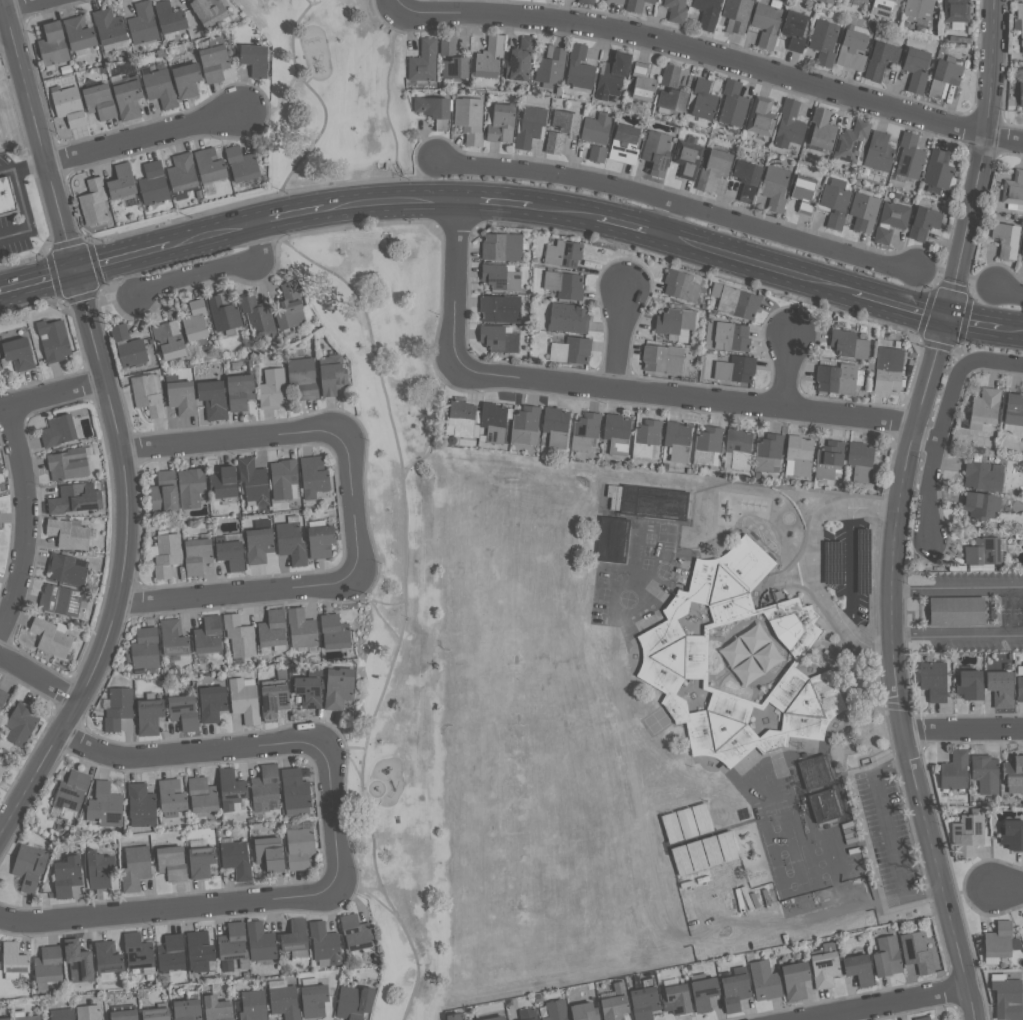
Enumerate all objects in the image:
building: (866, 0)
building: (937, 0)
building: (588, 1)
building: (618, 1)
building: (829, 1)
road: (392, 2)
building: (638, 5)
road: (32, 7)
building: (884, 8)
building: (920, 9)
building: (677, 10)
building: (958, 10)
building: (1019, 10)
building: (212, 12)
building: (709, 13)
building: (737, 14)
building: (171, 20)
building: (144, 23)
building: (767, 24)
road: (5, 25)
building: (112, 29)
building: (796, 30)
building: (81, 35)
building: (825, 42)
building: (54, 44)
building: (855, 48)
road: (710, 54)
building: (491, 57)
building: (454, 58)
building: (216, 59)
building: (256, 59)
building: (522, 59)
building: (883, 60)
building: (425, 61)
building: (552, 66)
building: (919, 68)
building: (581, 69)
building: (614, 75)
building: (672, 75)
building: (947, 76)
building: (189, 80)
building: (644, 82)
building: (162, 88)
building: (1020, 93)
building: (130, 99)
building: (671, 99)
building: (705, 100)
building: (101, 101)
building: (735, 104)
building: (70, 105)
road: (282, 105)
road: (388, 107)
building: (437, 110)
building: (763, 117)
building: (471, 118)
building: (501, 120)
building: (568, 121)
building: (791, 125)
building: (532, 126)
building: (598, 128)
building: (824, 129)
road: (38, 137)
road: (146, 140)
building: (854, 141)
building: (556, 143)
building: (626, 144)
building: (659, 152)
building: (881, 152)
building: (599, 154)
building: (912, 157)
building: (689, 158)
road: (979, 159)
building: (244, 164)
building: (212, 165)
road: (22, 166)
building: (716, 169)
building: (940, 172)
building: (184, 175)
building: (749, 179)
building: (124, 182)
building: (156, 183)
building: (777, 188)
building: (806, 188)
building: (1014, 190)
road: (390, 200)
building: (6, 201)
building: (96, 202)
building: (837, 202)
road: (494, 203)
road: (678, 206)
building: (807, 208)
building: (865, 210)
road: (24, 211)
road: (292, 213)
road: (564, 213)
road: (668, 221)
building: (892, 221)
building: (926, 223)
road: (630, 228)
road: (215, 234)
building: (1008, 239)
building: (504, 246)
building: (1022, 247)
building: (565, 254)
road: (122, 261)
road: (758, 265)
road: (215, 270)
traffic signals: (74, 275)
building: (503, 277)
road: (37, 284)
road: (454, 285)
building: (566, 285)
building: (683, 285)
road: (1008, 290)
building: (737, 301)
road: (900, 305)
building: (291, 306)
building: (502, 308)
building: (225, 313)
building: (259, 317)
building: (570, 317)
traffic signals: (948, 317)
building: (197, 321)
road: (975, 321)
building: (675, 322)
road: (1013, 325)
building: (730, 336)
building: (500, 338)
building: (171, 339)
building: (56, 340)
road: (621, 341)
building: (851, 344)
building: (130, 347)
building: (573, 350)
building: (20, 354)
building: (664, 358)
building: (890, 367)
building: (0, 368)
building: (733, 368)
road: (788, 371)
road: (960, 371)
building: (334, 374)
building: (305, 377)
building: (840, 379)
building: (274, 388)
building: (241, 391)
road: (51, 392)
building: (150, 394)
road: (689, 395)
building: (183, 397)
building: (214, 399)
building: (985, 408)
building: (1015, 414)
building: (463, 419)
building: (495, 421)
road: (434, 422)
building: (526, 424)
building: (558, 427)
building: (60, 430)
building: (587, 431)
building: (619, 433)
building: (648, 440)
road: (232, 441)
building: (680, 441)
building: (710, 446)
building: (740, 449)
park: (379, 451)
building: (771, 453)
building: (801, 456)
building: (831, 460)
building: (862, 461)
building: (69, 464)
building: (0, 471)
building: (315, 476)
building: (984, 476)
road: (932, 478)
building: (286, 479)
building: (255, 481)
road: (404, 481)
building: (225, 482)
building: (192, 487)
building: (166, 491)
building: (77, 499)
building: (650, 502)
building: (983, 505)
road: (352, 507)
road: (24, 516)
building: (72, 533)
building: (615, 540)
building: (324, 541)
building: (262, 542)
building: (294, 542)
building: (167, 553)
building: (234, 554)
building: (978, 554)
building: (200, 555)
road: (122, 565)
road: (817, 565)
building: (68, 569)
road: (854, 572)
road: (957, 589)
road: (237, 593)
building: (63, 599)
road: (389, 605)
building: (952, 610)
road: (379, 611)
building: (304, 628)
building: (275, 631)
building: (337, 631)
road: (957, 632)
building: (211, 635)
building: (241, 635)
building: (54, 637)
building: (176, 637)
building: (148, 649)
building: (676, 653)
road: (894, 669)
road: (39, 678)
building: (930, 680)
building: (964, 684)
building: (1018, 685)
building: (340, 688)
building: (997, 688)
building: (311, 691)
building: (277, 696)
building: (3, 697)
building: (246, 701)
building: (215, 703)
building: (120, 708)
building: (186, 711)
building: (152, 715)
building: (24, 723)
road: (962, 728)
road: (331, 748)
road: (191, 752)
building: (2, 770)
building: (816, 771)
building: (950, 771)
building: (980, 773)
building: (1011, 774)
building: (268, 787)
building: (234, 789)
building: (298, 792)
building: (205, 795)
building: (73, 796)
building: (174, 797)
building: (144, 804)
building: (828, 805)
building: (108, 806)
road: (330, 818)
building: (965, 832)
building: (1008, 834)
road: (889, 838)
building: (302, 845)
building: (272, 853)
building: (203, 859)
building: (239, 859)
building: (174, 862)
building: (32, 866)
building: (138, 867)
building: (102, 869)
building: (69, 876)
road: (1008, 887)
road: (376, 889)
road: (370, 892)
road: (165, 908)
building: (359, 932)
building: (298, 939)
building: (263, 941)
building: (999, 942)
building: (235, 944)
building: (327, 944)
building: (917, 951)
building: (203, 952)
building: (141, 953)
building: (174, 953)
building: (889, 955)
building: (110, 957)
building: (17, 958)
building: (82, 963)
building: (51, 964)
building: (827, 966)
building: (860, 969)
building: (765, 980)
building: (796, 980)
building: (736, 989)
building: (706, 992)
building: (316, 997)
building: (679, 998)
building: (1009, 998)
building: (283, 1002)
building: (353, 1002)
building: (646, 1002)
road: (889, 1003)
building: (614, 1004)
building: (253, 1005)
building: (216, 1008)
building: (186, 1010)
building: (555, 1010)
building: (583, 1011)
building: (88, 1012)
building: (155, 1013)
building: (62, 1014)
building: (527, 1014)
building: (123, 1015)
building: (453, 1016)
building: (27, 1017)
building: (4, 1018)
building: (494, 1018)
building: (921, 1018)

